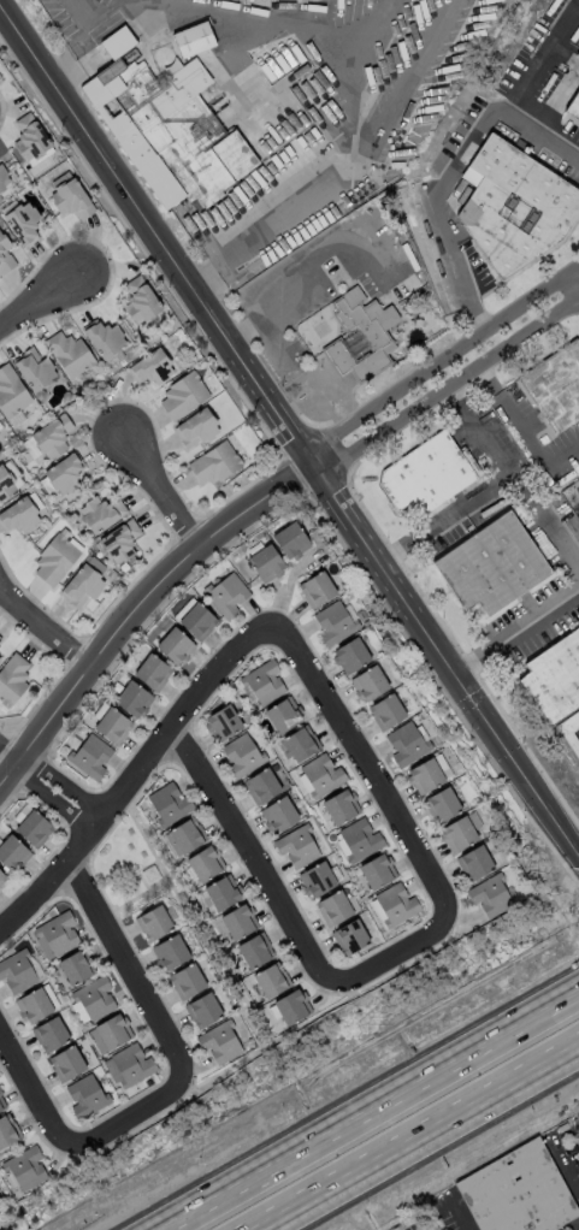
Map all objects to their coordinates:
road: (560, 31)
building: (191, 37)
building: (116, 41)
road: (75, 53)
building: (578, 53)
road: (337, 61)
road: (524, 84)
building: (573, 106)
building: (167, 129)
building: (29, 136)
road: (444, 161)
building: (4, 178)
building: (69, 196)
building: (512, 202)
building: (22, 221)
road: (317, 246)
building: (4, 255)
road: (45, 297)
building: (140, 300)
building: (359, 333)
building: (104, 337)
building: (69, 353)
road: (438, 357)
building: (150, 366)
building: (34, 368)
road: (448, 383)
building: (555, 385)
building: (11, 391)
building: (182, 395)
building: (195, 427)
road: (294, 432)
building: (51, 436)
road: (536, 444)
building: (213, 462)
building: (64, 472)
building: (424, 473)
building: (5, 484)
road: (163, 490)
road: (486, 490)
building: (99, 511)
building: (20, 513)
road: (560, 536)
building: (289, 539)
building: (118, 542)
building: (54, 557)
road: (577, 560)
building: (265, 562)
building: (490, 564)
building: (83, 581)
building: (315, 589)
building: (225, 593)
road: (144, 604)
building: (195, 619)
building: (335, 621)
road: (45, 627)
road: (516, 631)
building: (173, 645)
building: (349, 655)
building: (0, 656)
building: (150, 672)
building: (553, 676)
building: (12, 678)
building: (261, 682)
building: (367, 682)
building: (132, 698)
building: (385, 711)
building: (283, 714)
building: (221, 722)
building: (111, 725)
building: (300, 743)
building: (406, 743)
road: (8, 750)
building: (241, 755)
building: (89, 756)
road: (135, 771)
road: (368, 773)
building: (427, 773)
building: (319, 775)
road: (61, 779)
building: (260, 785)
road: (46, 797)
building: (167, 803)
building: (441, 804)
building: (339, 805)
building: (277, 814)
building: (33, 827)
building: (459, 832)
building: (185, 834)
building: (358, 839)
building: (296, 845)
building: (12, 853)
building: (203, 862)
building: (473, 862)
road: (253, 863)
building: (376, 870)
building: (1, 879)
building: (314, 879)
building: (220, 892)
building: (489, 894)
building: (394, 904)
building: (332, 907)
building: (237, 921)
building: (153, 922)
building: (53, 935)
building: (349, 936)
building: (254, 950)
building: (169, 951)
road: (394, 954)
road: (126, 964)
building: (75, 966)
building: (18, 970)
building: (270, 978)
building: (185, 980)
building: (90, 999)
building: (35, 1003)
building: (291, 1006)
building: (202, 1010)
building: (112, 1030)
building: (49, 1034)
building: (219, 1041)
building: (65, 1063)
building: (128, 1065)
road: (26, 1094)
building: (84, 1095)
building: (1, 1105)
road: (372, 1110)
road: (125, 1119)
building: (7, 1130)
road: (412, 1134)
building: (23, 1169)
building: (516, 1191)

